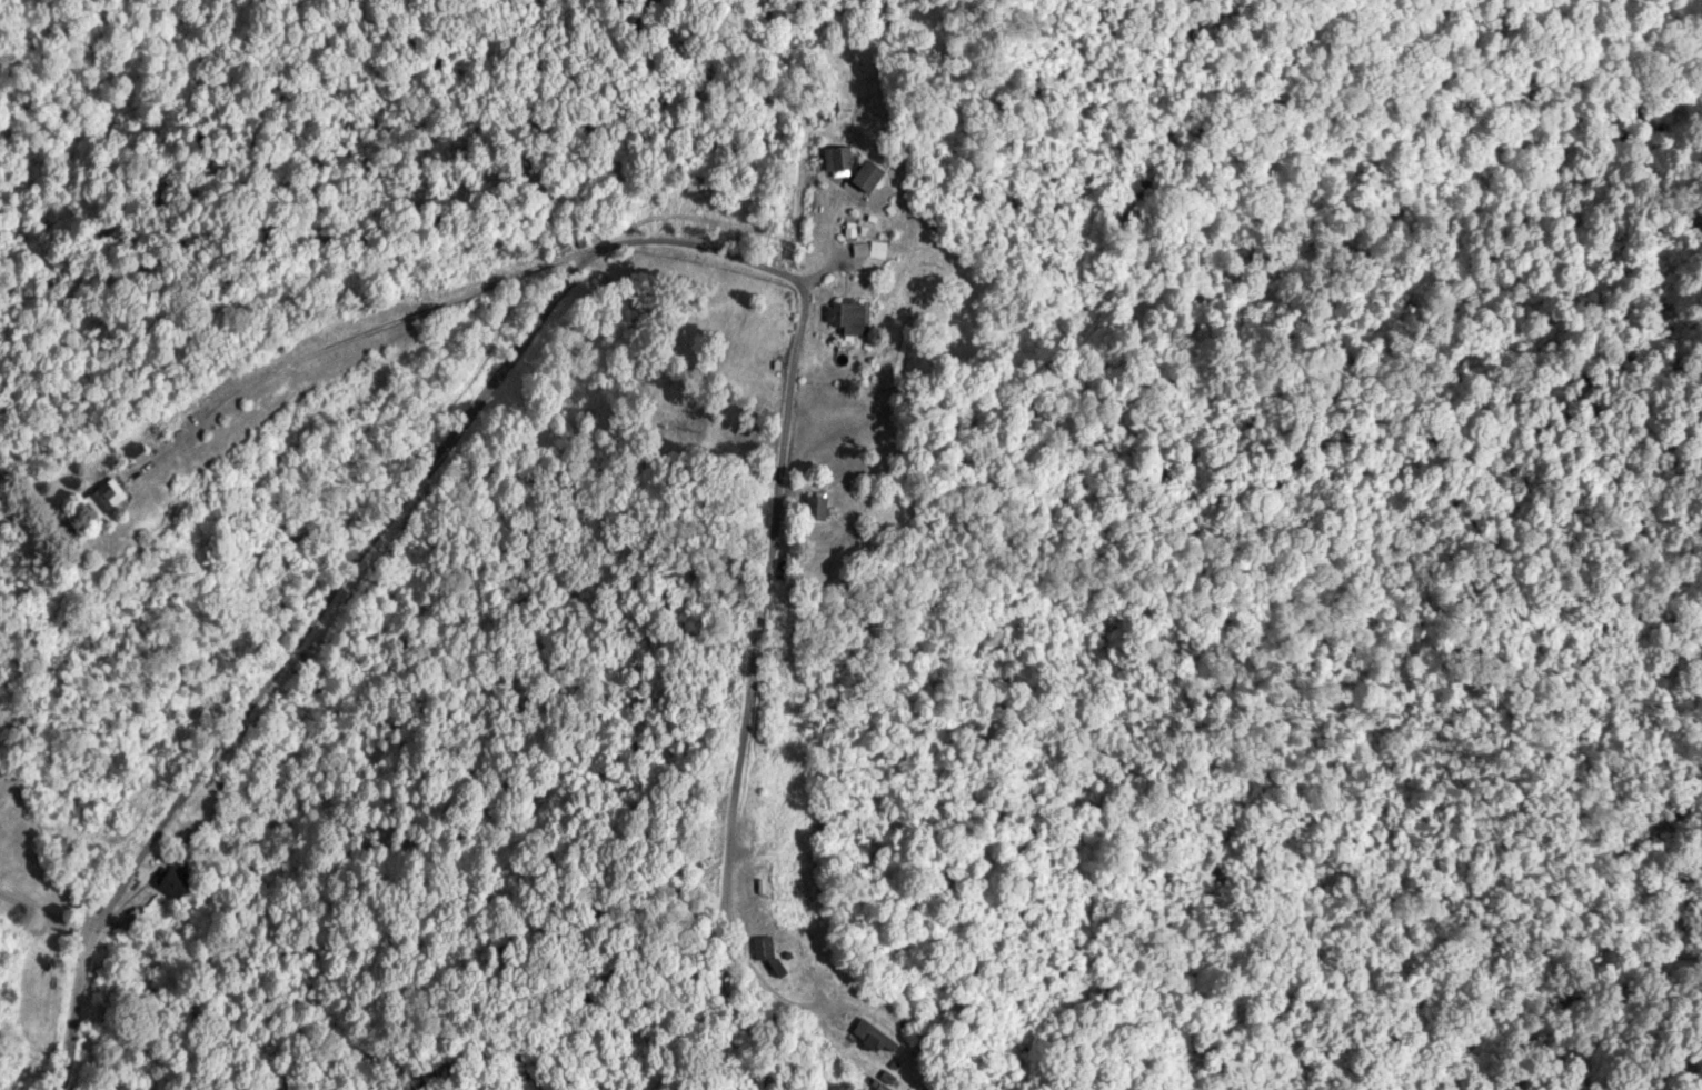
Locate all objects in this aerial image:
building: (822, 110)
building: (834, 158)
building: (864, 176)
building: (553, 249)
road: (598, 266)
building: (844, 316)
building: (100, 496)
building: (814, 506)
building: (759, 878)
building: (171, 879)
building: (131, 924)
building: (760, 946)
building: (865, 1036)

